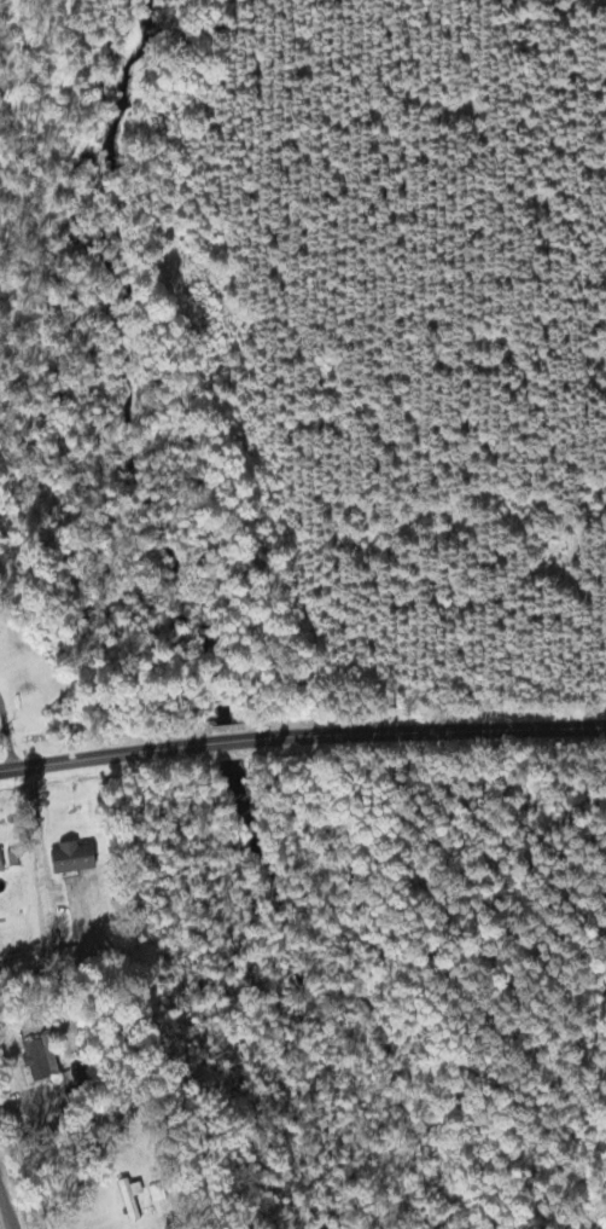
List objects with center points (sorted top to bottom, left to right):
road: (302, 732)
building: (76, 854)
building: (2, 859)
building: (70, 958)
building: (42, 1056)
road: (8, 1204)

